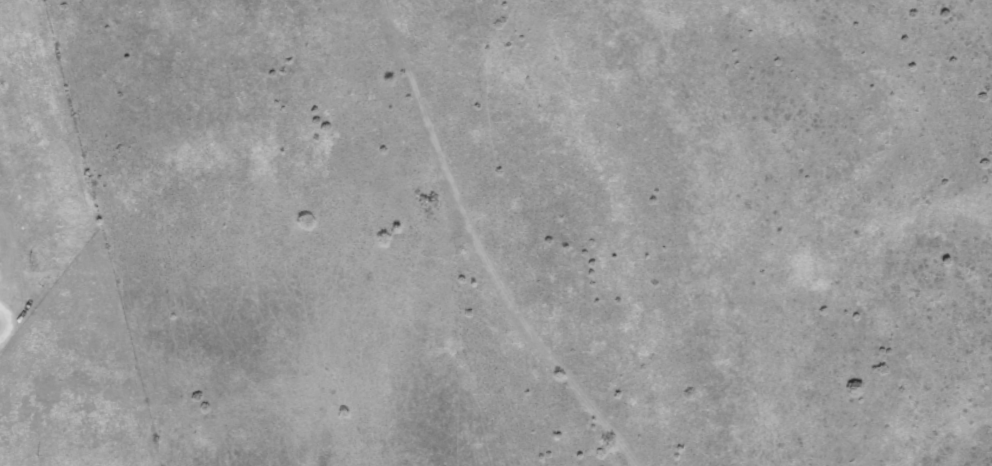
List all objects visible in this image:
road: (3, 310)

